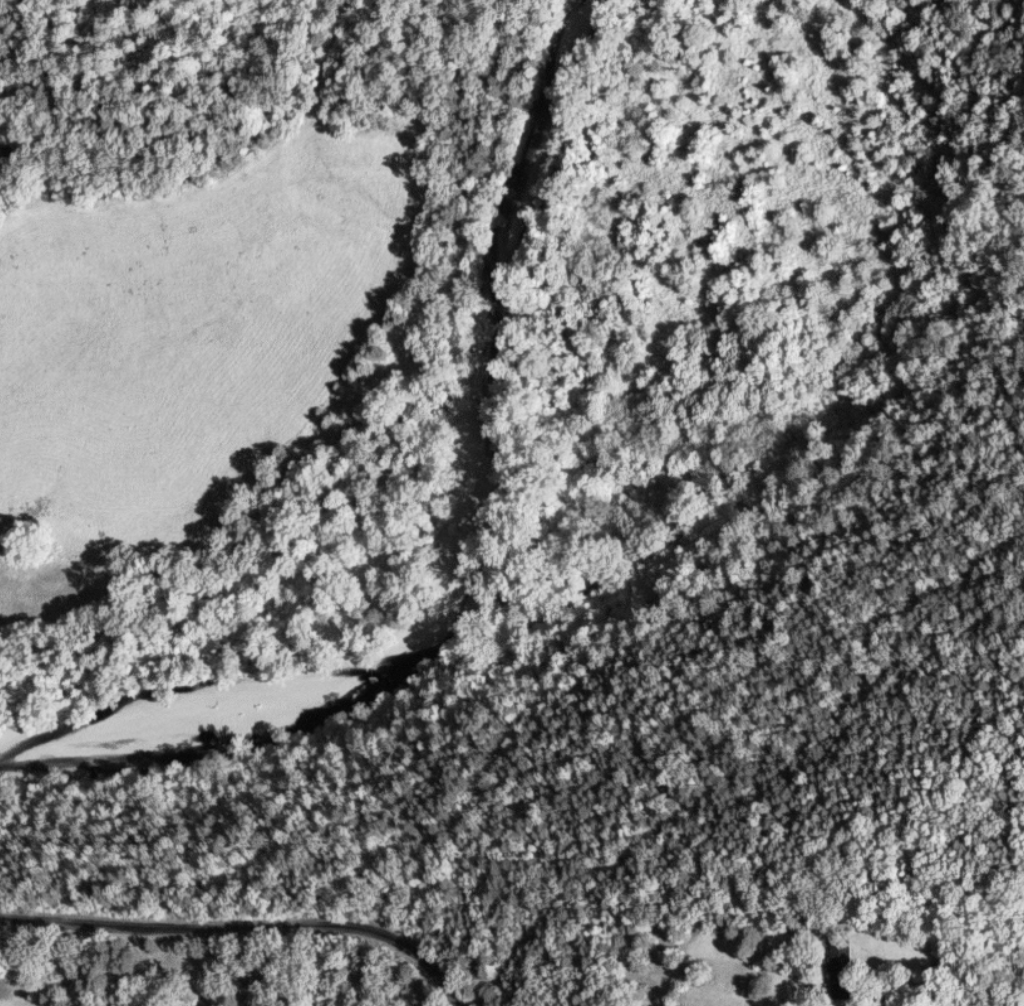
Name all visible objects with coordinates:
road: (245, 930)
road: (151, 965)
road: (794, 990)

